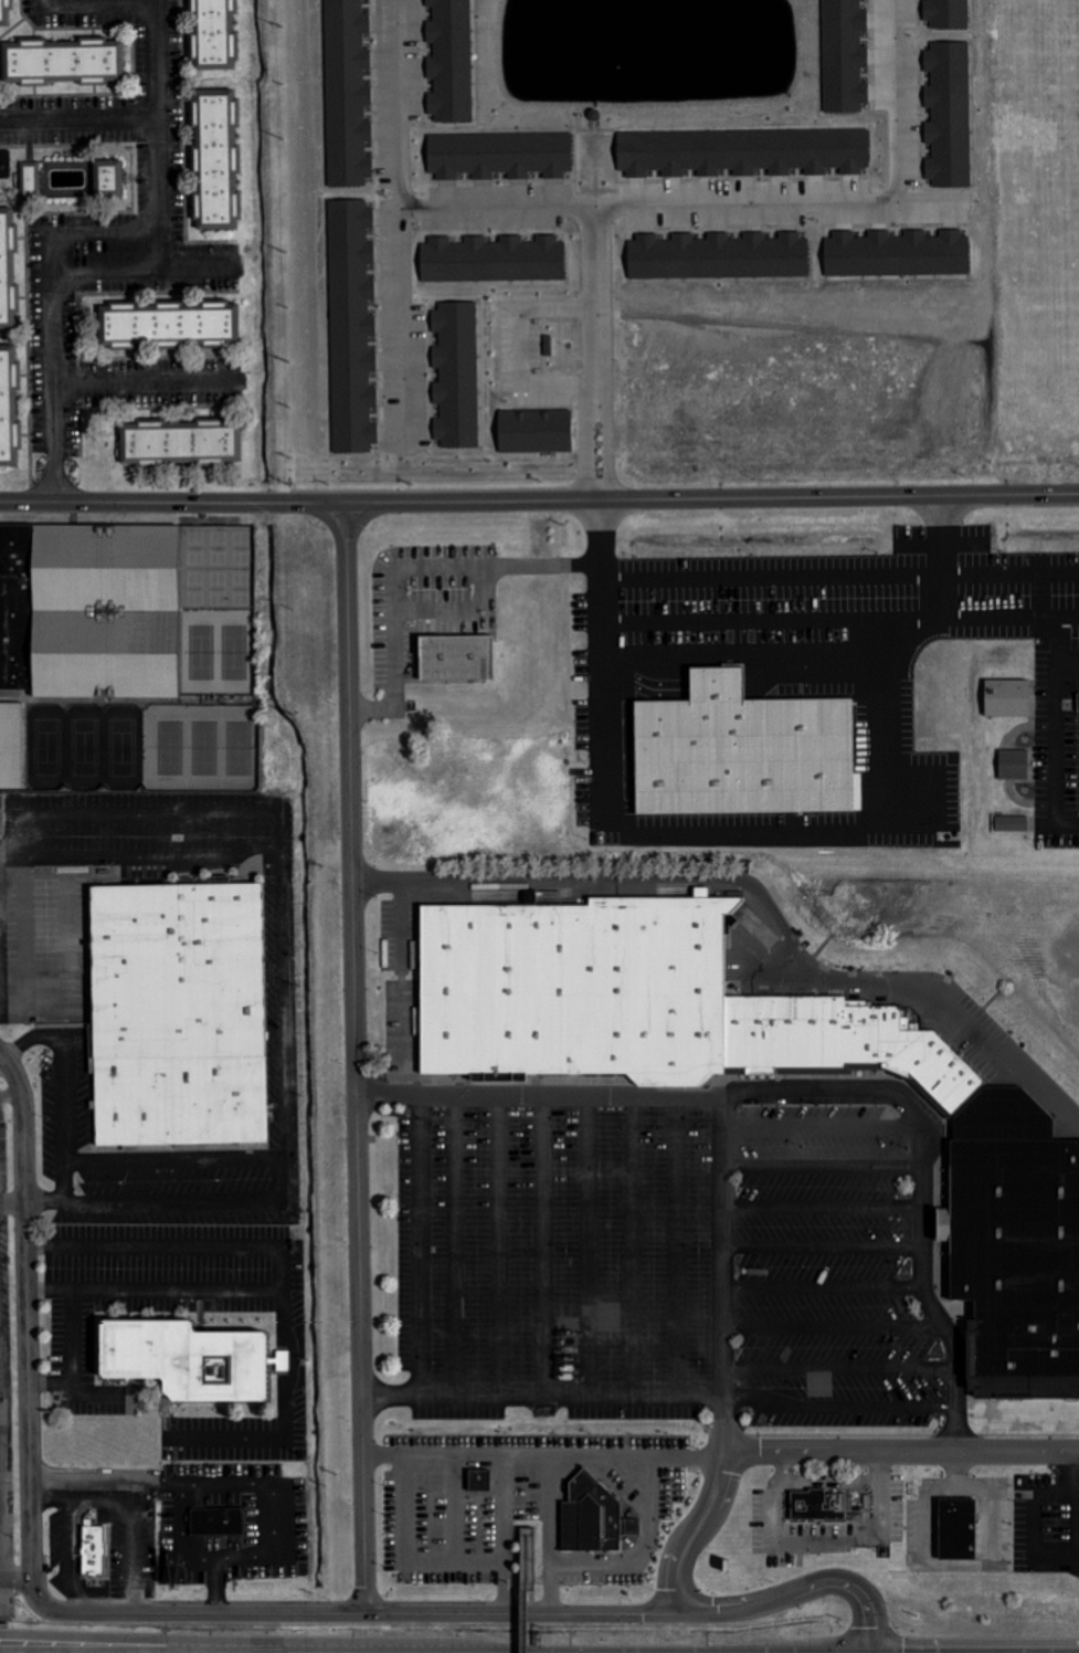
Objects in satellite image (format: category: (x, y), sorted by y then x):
building: (6, 11)
building: (946, 13)
building: (224, 35)
building: (845, 55)
building: (451, 61)
building: (63, 62)
road: (902, 98)
building: (949, 114)
road: (84, 115)
road: (167, 117)
building: (742, 151)
building: (499, 155)
building: (224, 166)
building: (107, 178)
building: (31, 179)
road: (758, 204)
road: (506, 207)
road: (402, 219)
road: (112, 234)
building: (897, 254)
building: (718, 256)
building: (493, 260)
building: (8, 269)
building: (352, 326)
building: (178, 334)
road: (596, 349)
road: (507, 352)
road: (57, 369)
building: (457, 375)
road: (155, 379)
building: (9, 406)
building: (535, 431)
building: (186, 451)
road: (539, 501)
road: (440, 567)
road: (974, 572)
road: (772, 576)
road: (458, 608)
building: (91, 610)
road: (1007, 620)
road: (773, 627)
building: (220, 654)
road: (748, 656)
building: (455, 659)
road: (1069, 662)
building: (1078, 695)
building: (1006, 698)
road: (1058, 731)
building: (11, 746)
building: (743, 752)
building: (1014, 765)
road: (118, 812)
building: (1012, 824)
road: (765, 844)
building: (530, 896)
road: (760, 897)
building: (176, 968)
road: (281, 979)
building: (636, 998)
road: (357, 1059)
road: (65, 1083)
road: (812, 1096)
building: (178, 1098)
building: (1003, 1115)
road: (821, 1172)
road: (181, 1199)
road: (821, 1209)
road: (13, 1210)
road: (176, 1244)
road: (822, 1247)
road: (721, 1250)
building: (1018, 1255)
road: (823, 1294)
road: (281, 1317)
road: (28, 1319)
road: (833, 1331)
road: (70, 1334)
building: (188, 1359)
building: (283, 1360)
road: (839, 1375)
road: (567, 1402)
road: (840, 1409)
road: (2, 1442)
road: (901, 1451)
road: (543, 1455)
road: (245, 1480)
building: (479, 1480)
road: (1076, 1494)
road: (93, 1496)
road: (52, 1499)
road: (1035, 1505)
building: (818, 1506)
building: (595, 1514)
building: (216, 1520)
building: (959, 1529)
road: (696, 1530)
road: (505, 1534)
road: (179, 1535)
road: (552, 1535)
building: (94, 1549)
road: (406, 1556)
building: (528, 1559)
road: (528, 1568)
road: (520, 1591)
road: (17, 1592)
parking lot: (4, 1598)
road: (867, 1603)
road: (427, 1614)
road: (116, 1640)

